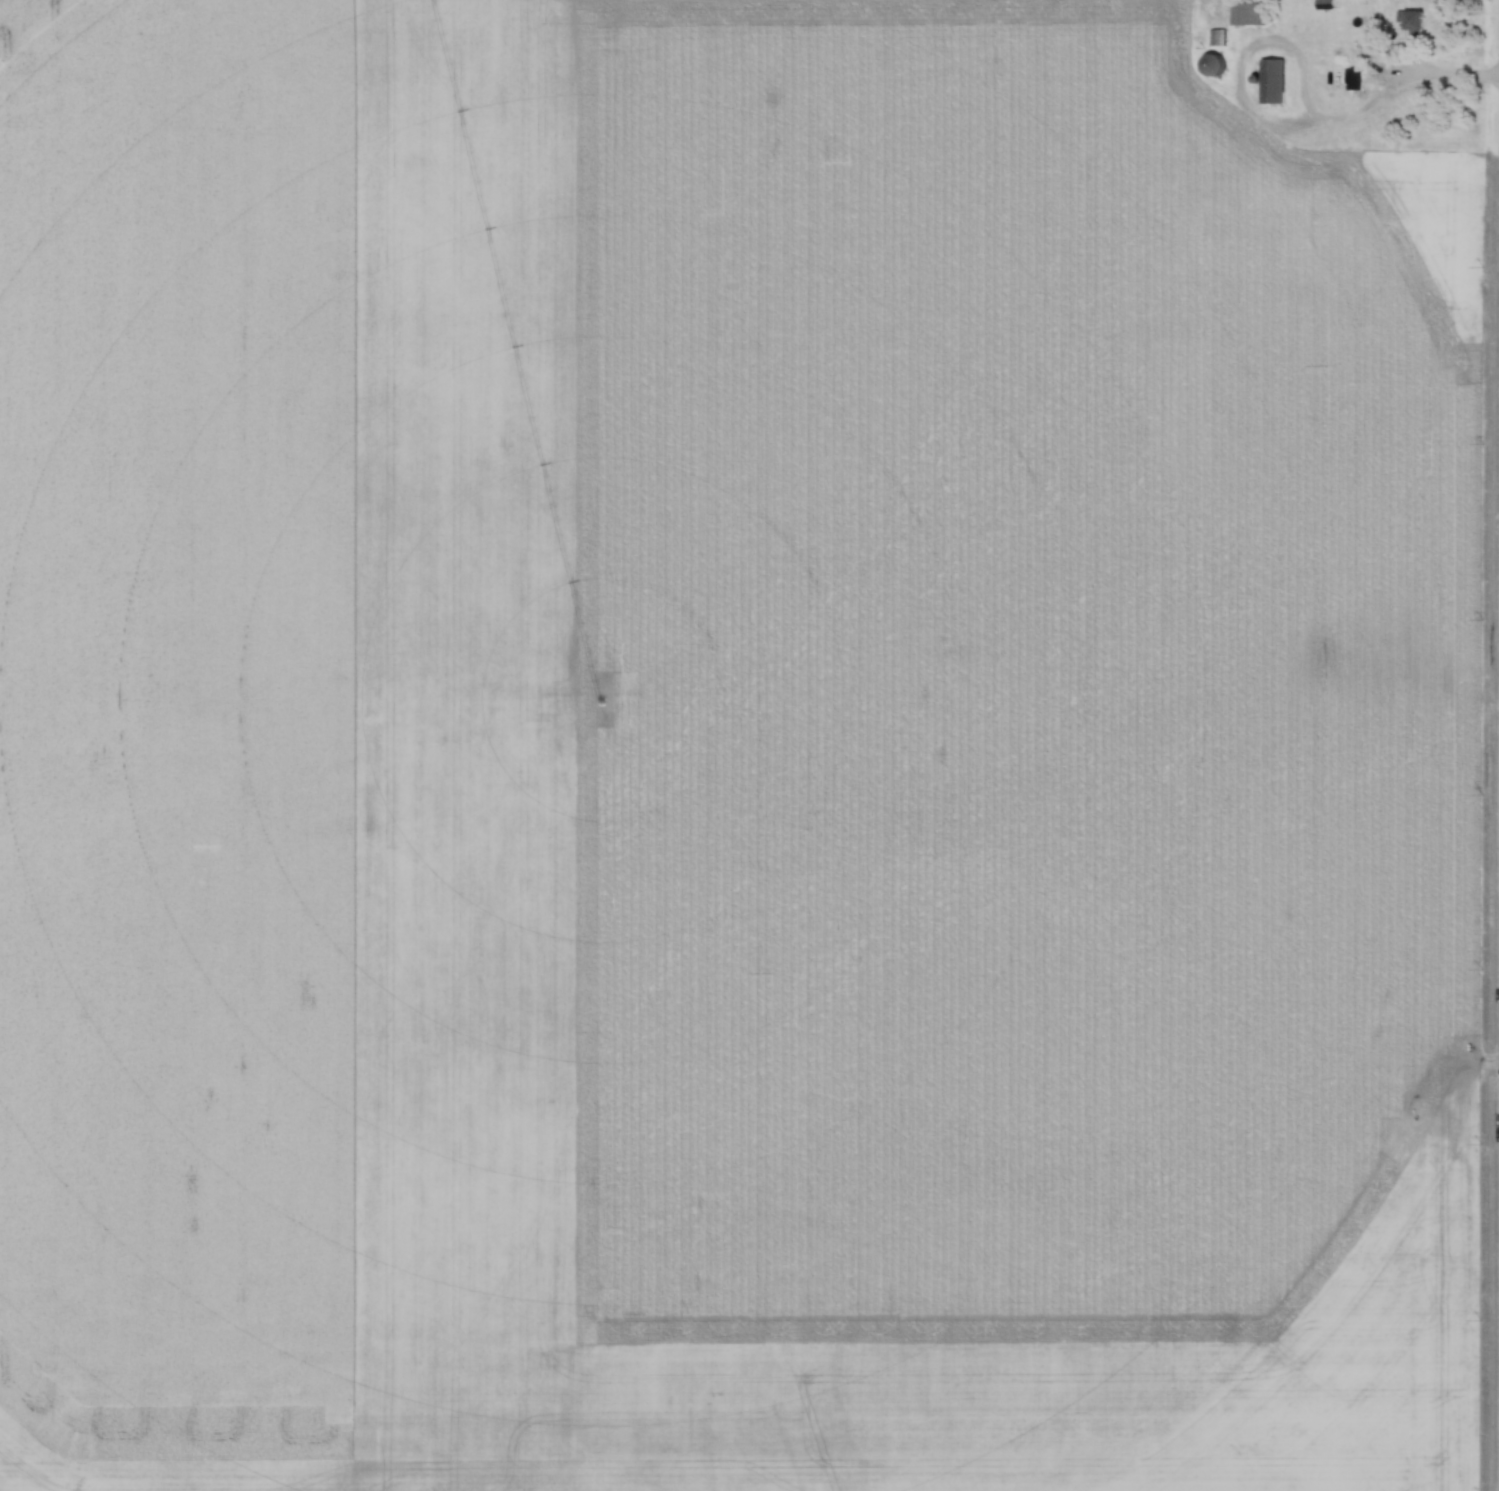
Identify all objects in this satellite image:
building: (1247, 14)
building: (1410, 20)
building: (1217, 37)
building: (1211, 65)
building: (1352, 79)
road: (1408, 81)
building: (1272, 82)

